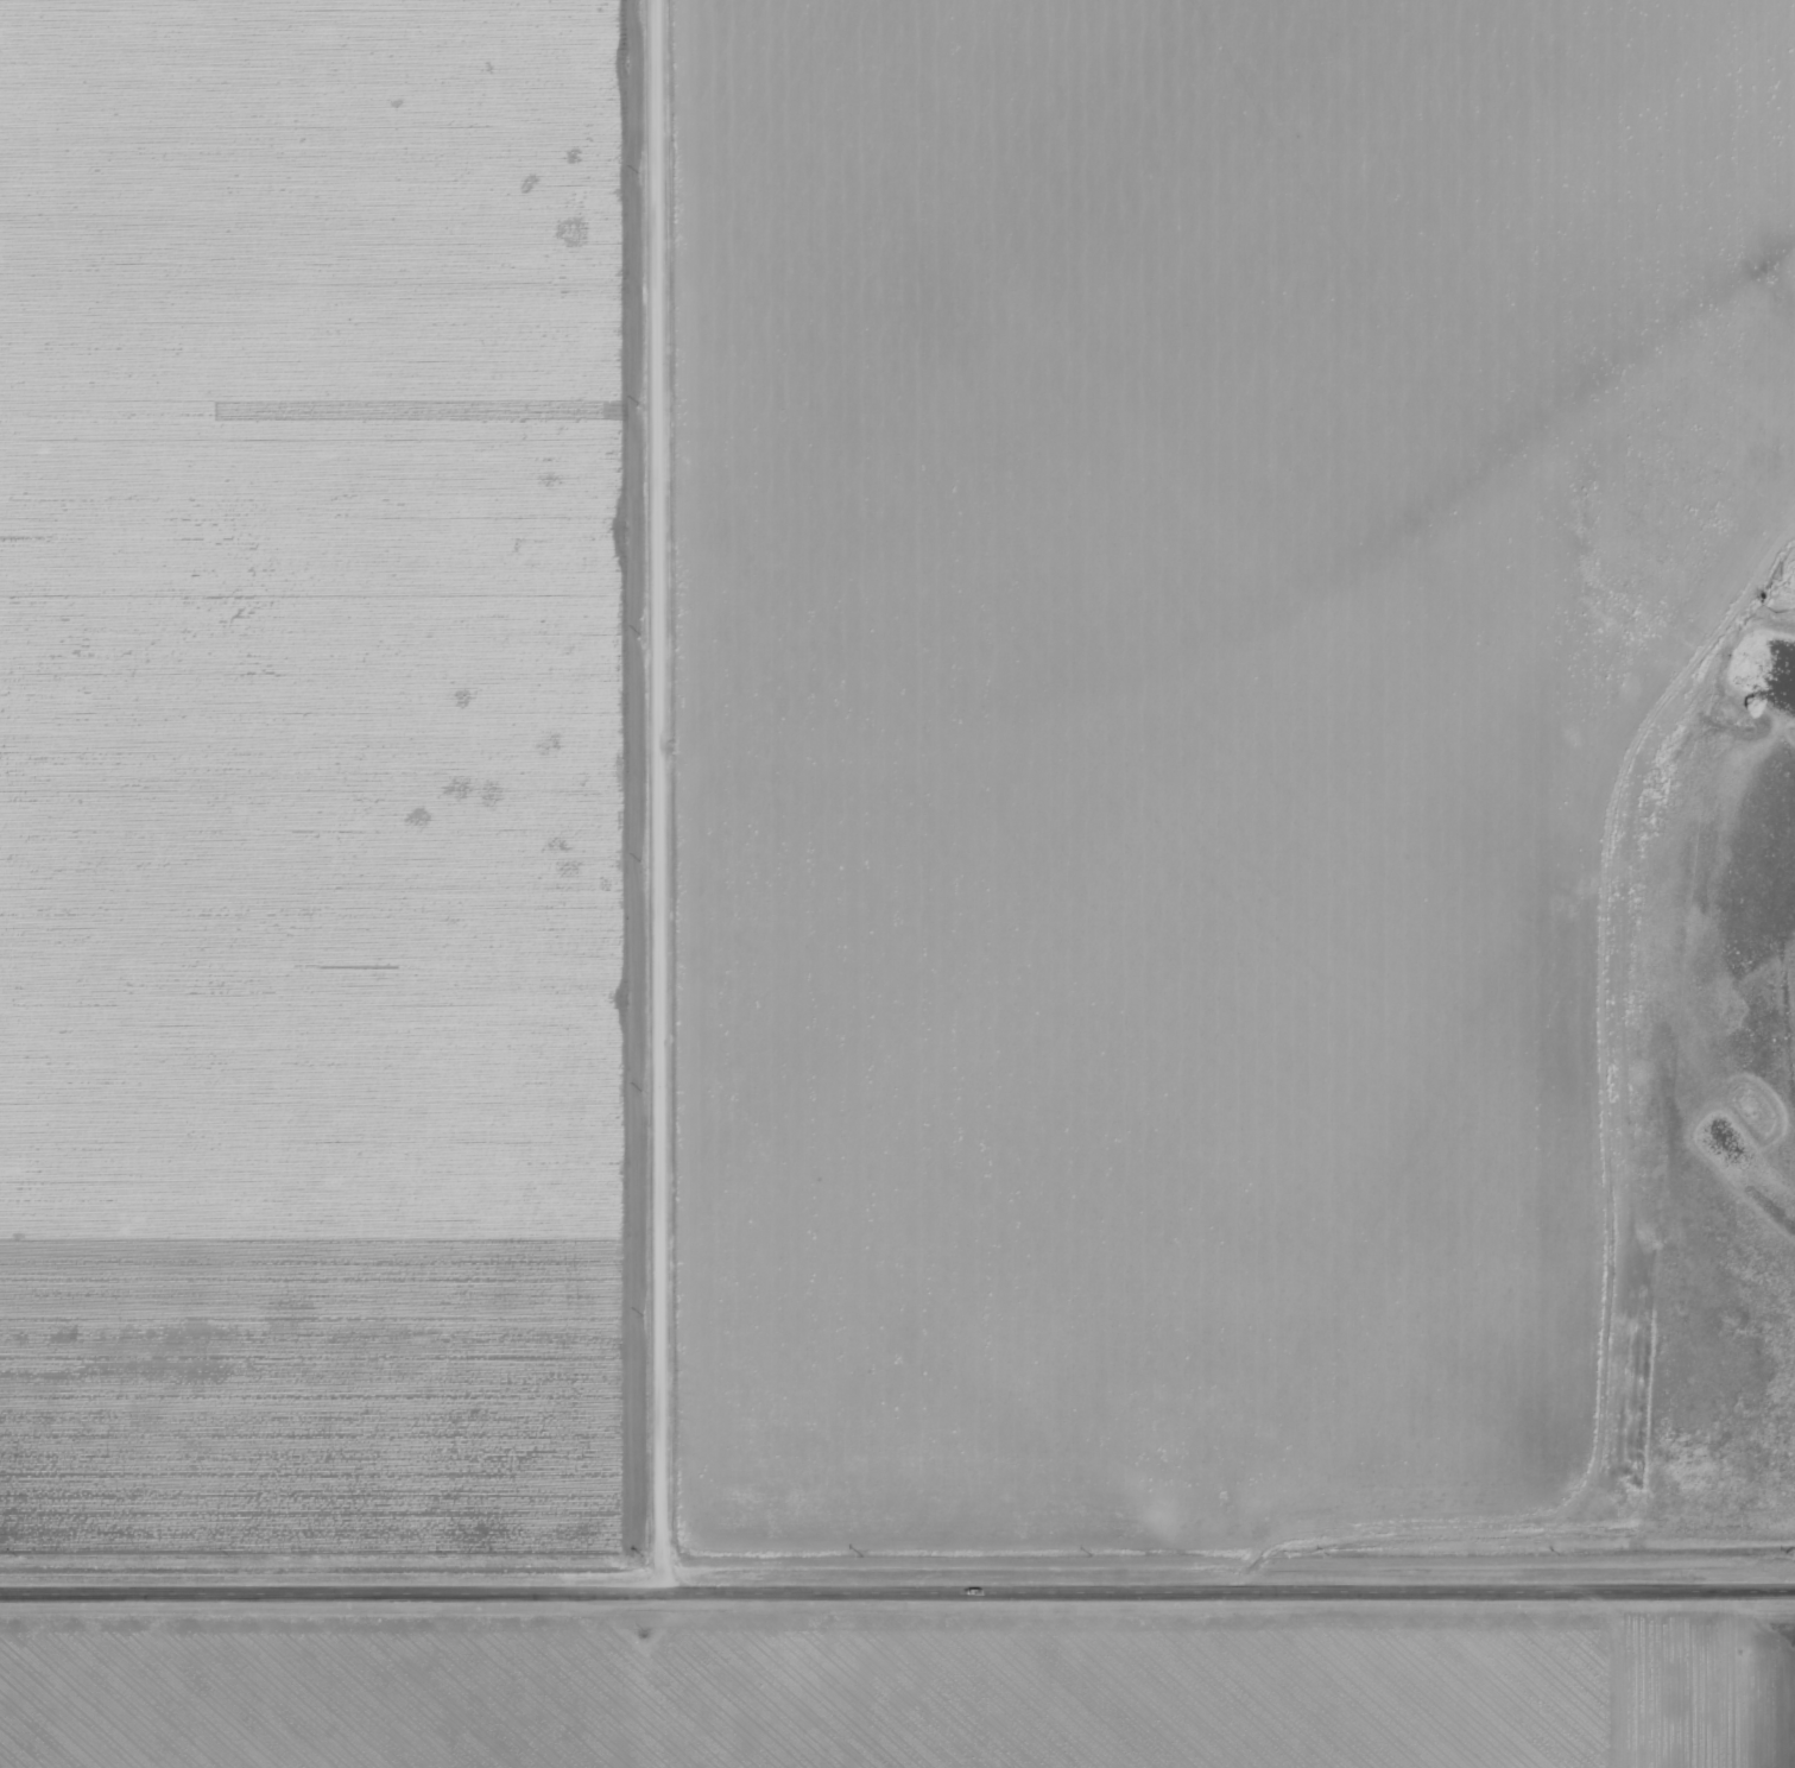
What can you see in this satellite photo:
road: (650, 802)
road: (897, 1604)

